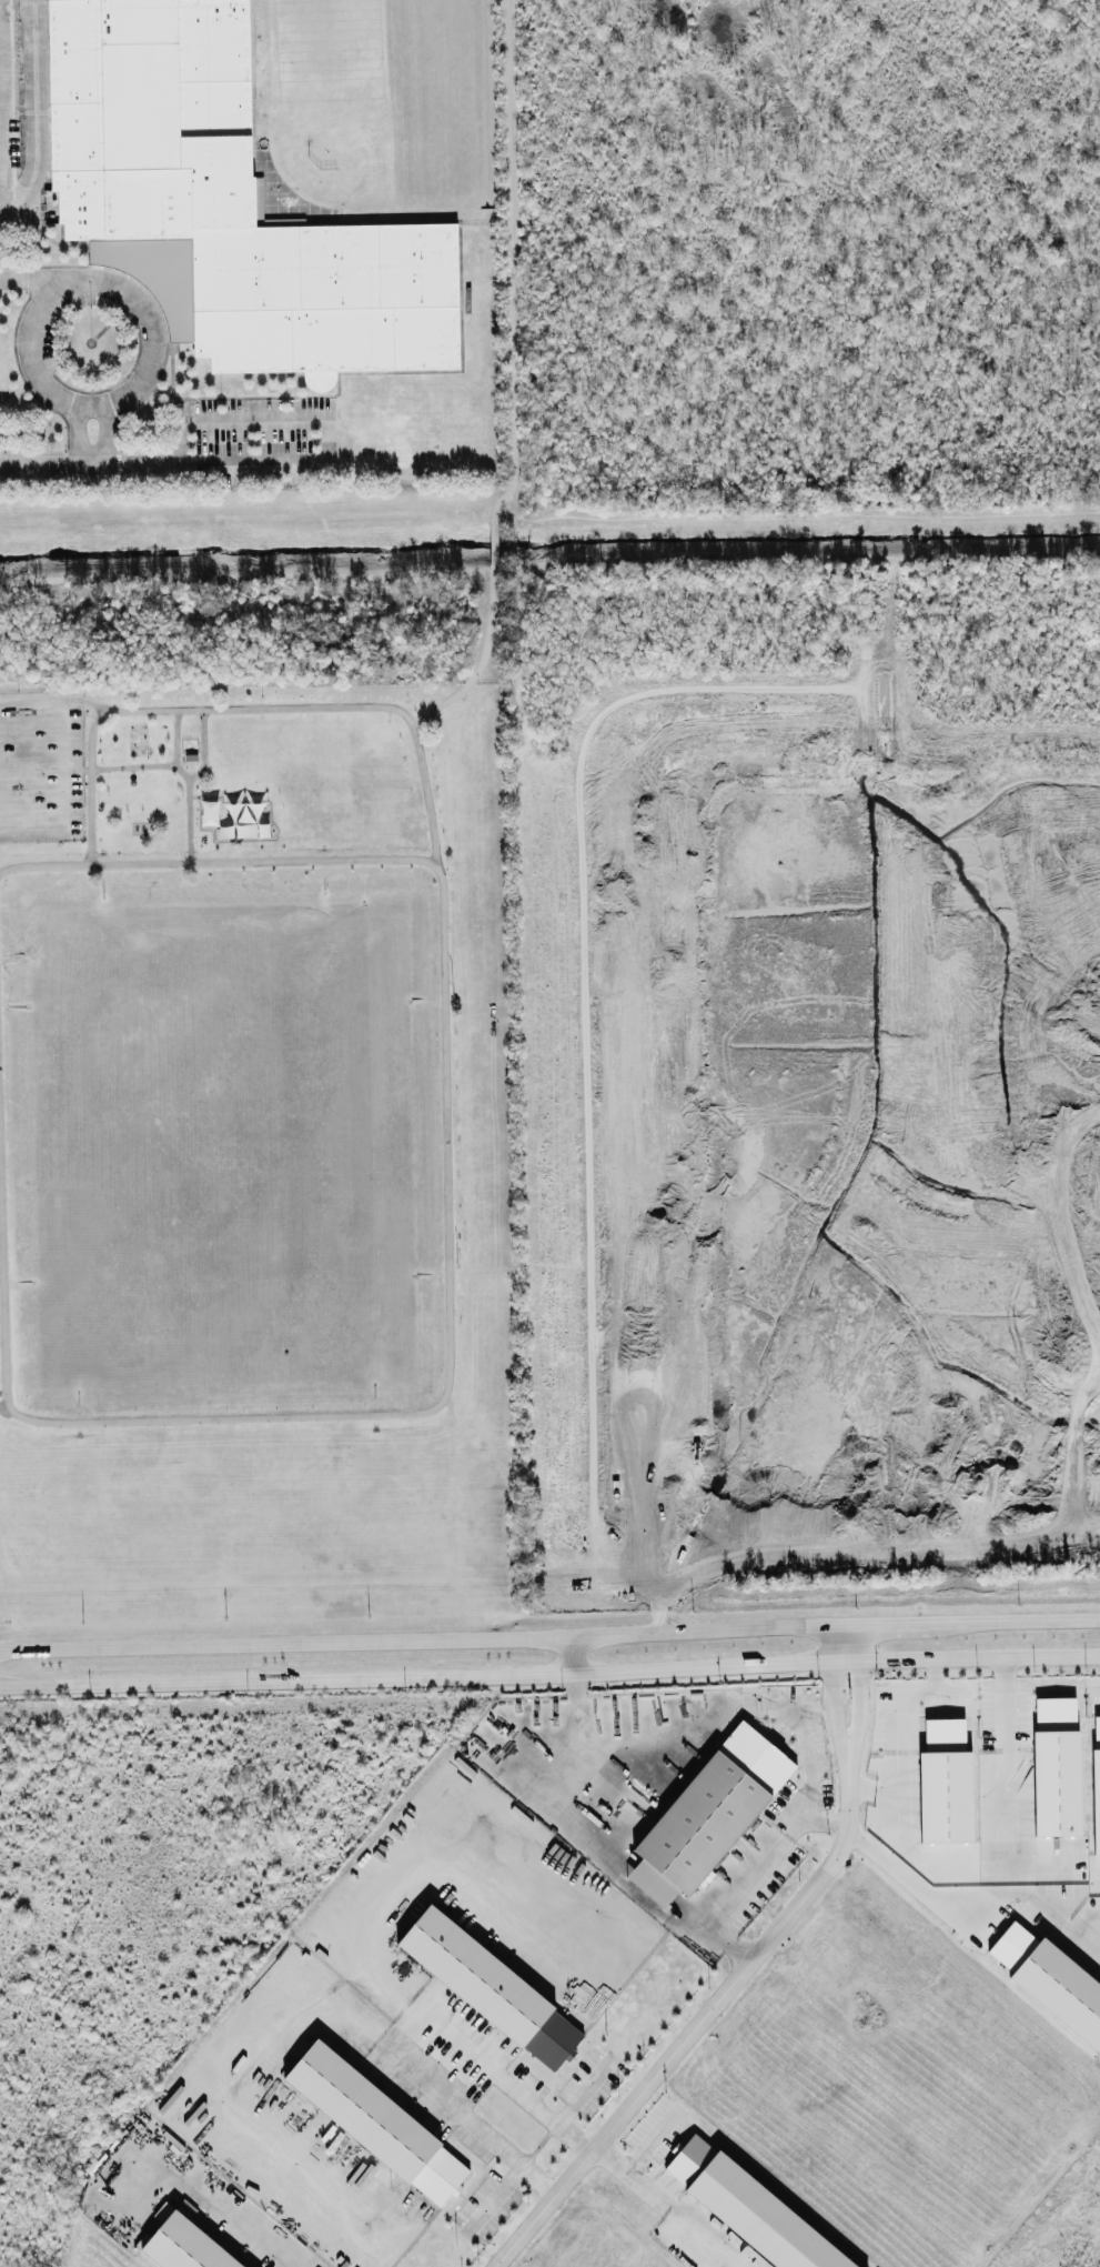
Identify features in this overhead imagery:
road: (38, 127)
building: (224, 202)
road: (511, 262)
road: (90, 271)
road: (28, 281)
flagpole: (91, 341)
road: (254, 414)
parking lot: (259, 428)
road: (80, 434)
road: (107, 434)
road: (164, 461)
road: (796, 512)
road: (493, 542)
road: (483, 659)
road: (252, 705)
road: (175, 736)
road: (203, 745)
road: (62, 766)
road: (182, 770)
building: (210, 812)
road: (445, 1135)
road: (2, 1304)
road: (549, 1637)
road: (841, 1641)
road: (576, 1655)
road: (842, 1659)
road: (549, 1673)
road: (905, 1692)
road: (1005, 1704)
road: (653, 1747)
building: (1057, 1765)
building: (1097, 1779)
building: (946, 1783)
road: (891, 1787)
road: (1008, 1799)
building: (709, 1814)
road: (821, 1820)
road: (783, 1827)
road: (608, 1867)
road: (1094, 1886)
road: (957, 1892)
road: (714, 1933)
building: (1051, 1979)
building: (491, 1985)
road: (700, 2017)
road: (422, 2046)
road: (498, 2075)
road: (585, 2088)
road: (464, 2116)
building: (377, 2118)
road: (649, 2141)
road: (633, 2176)
road: (491, 2199)
road: (205, 2203)
building: (751, 2208)
road: (707, 2236)
building: (184, 2246)

